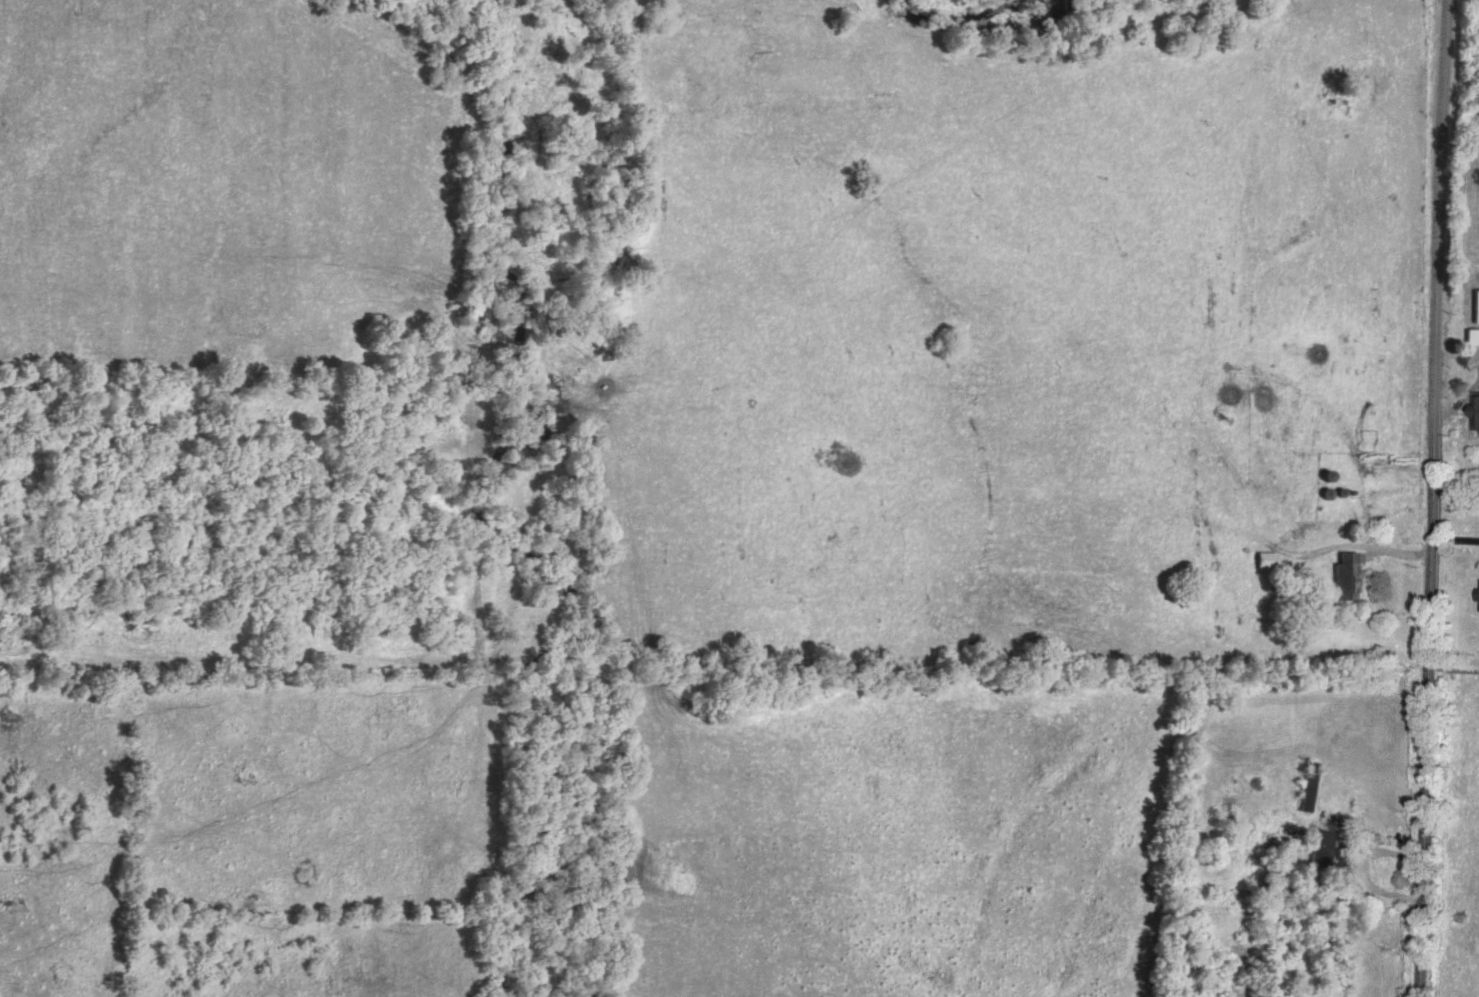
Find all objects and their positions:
building: (1477, 302)
building: (1472, 332)
road: (1431, 498)
building: (1349, 573)
building: (1323, 845)

